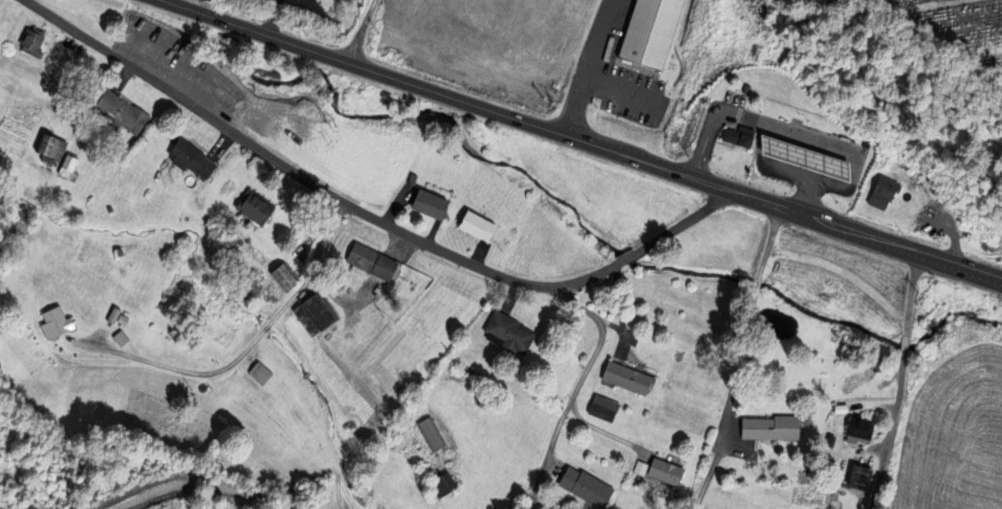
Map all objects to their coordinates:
road: (360, 31)
building: (647, 32)
building: (28, 42)
building: (117, 113)
building: (738, 136)
road: (581, 141)
building: (48, 147)
building: (189, 157)
building: (802, 157)
gas station: (802, 157)
building: (64, 165)
road: (309, 183)
building: (881, 190)
building: (428, 204)
building: (254, 207)
road: (683, 222)
building: (474, 225)
road: (767, 243)
road: (629, 256)
building: (370, 262)
building: (282, 276)
road: (756, 285)
road: (909, 293)
building: (315, 310)
building: (55, 321)
building: (507, 332)
road: (904, 342)
road: (248, 345)
road: (736, 371)
building: (258, 372)
building: (625, 377)
building: (858, 379)
road: (577, 383)
building: (601, 408)
building: (770, 427)
building: (859, 428)
road: (890, 429)
road: (601, 430)
building: (429, 433)
building: (664, 471)
building: (857, 477)
road: (706, 480)
building: (439, 484)
building: (583, 487)
building: (542, 508)
building: (551, 508)

